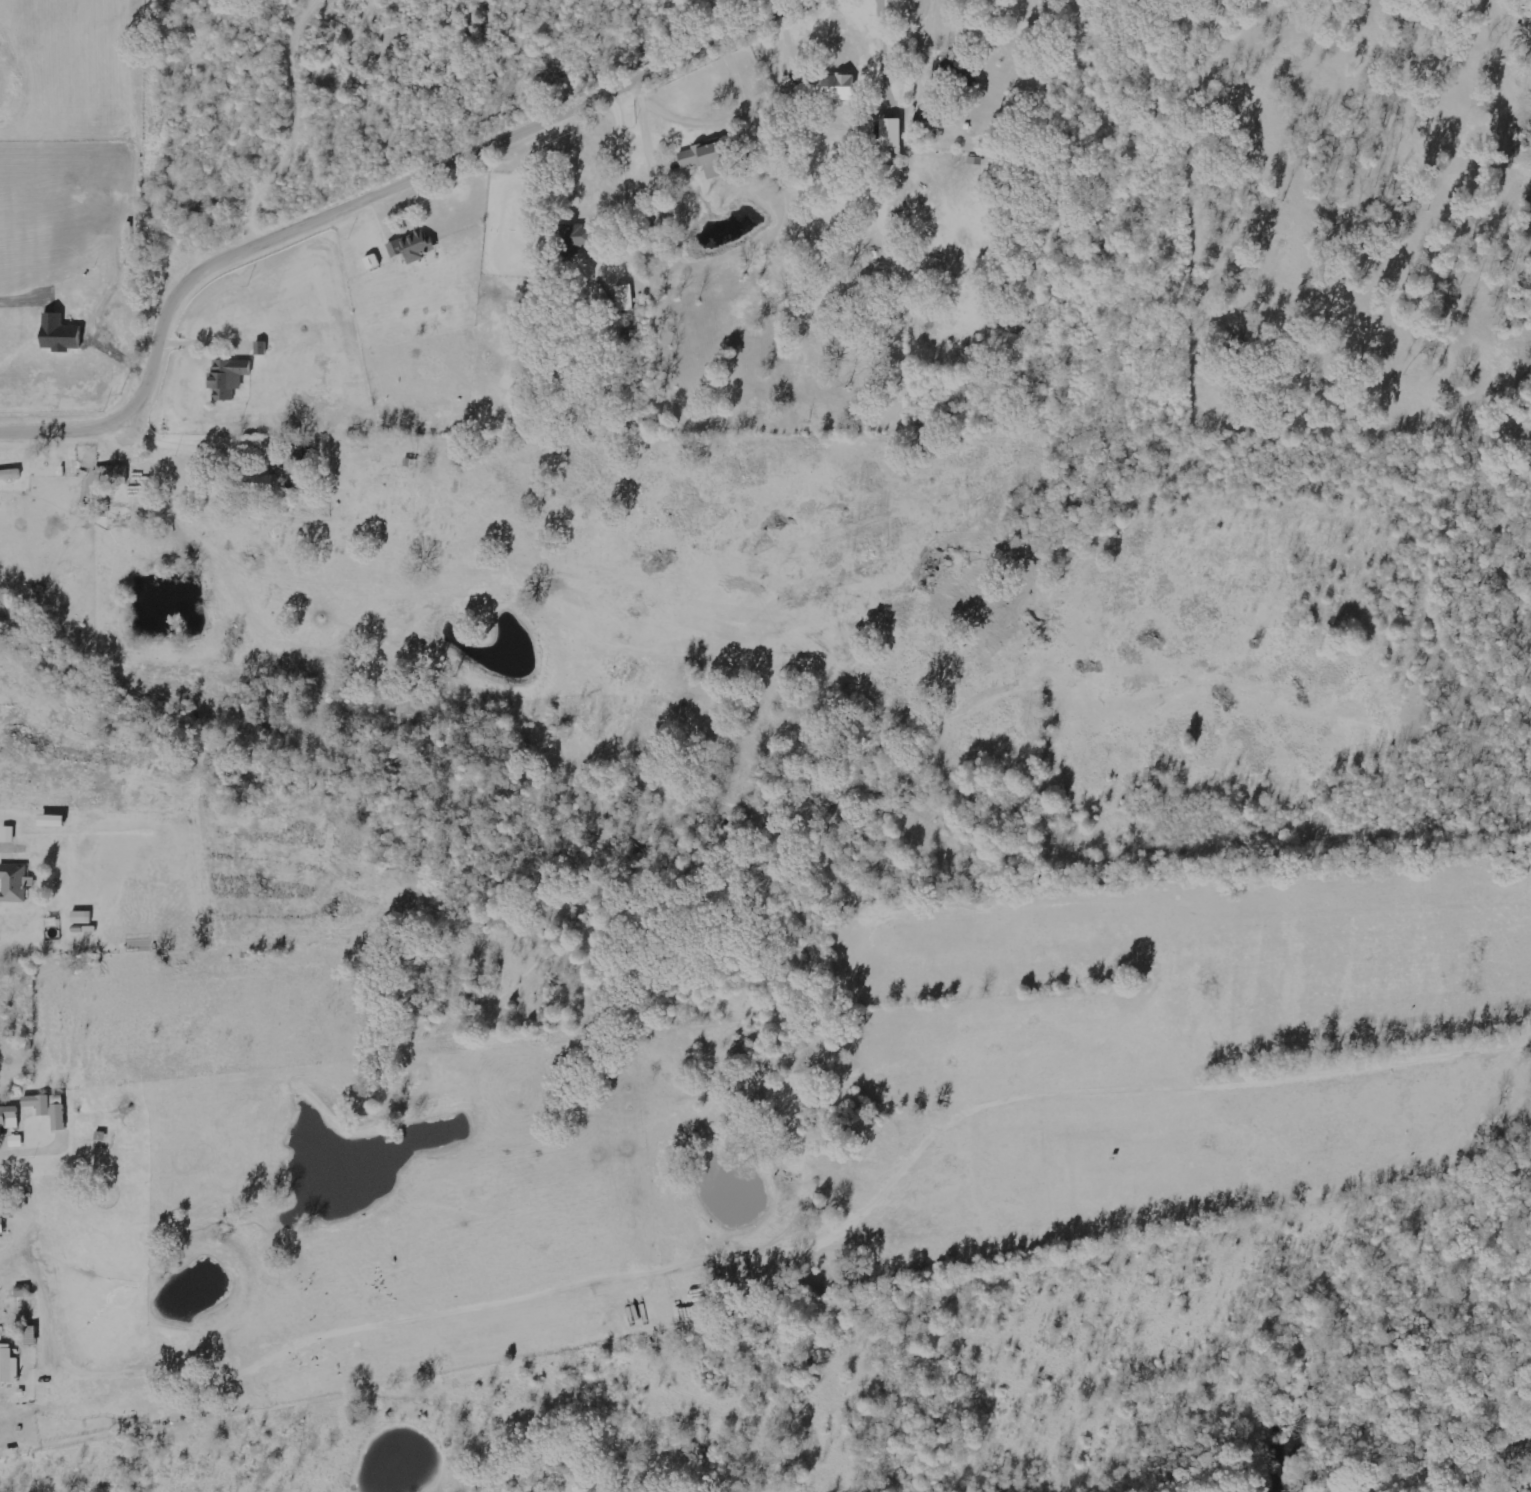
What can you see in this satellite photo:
building: (837, 86)
building: (716, 158)
road: (378, 201)
building: (579, 235)
building: (412, 246)
building: (625, 297)
building: (228, 376)
building: (262, 482)
building: (108, 486)
building: (8, 834)
building: (15, 882)
building: (38, 1102)
building: (58, 1115)
building: (9, 1116)
building: (8, 1365)
railway: (1433, 1468)

